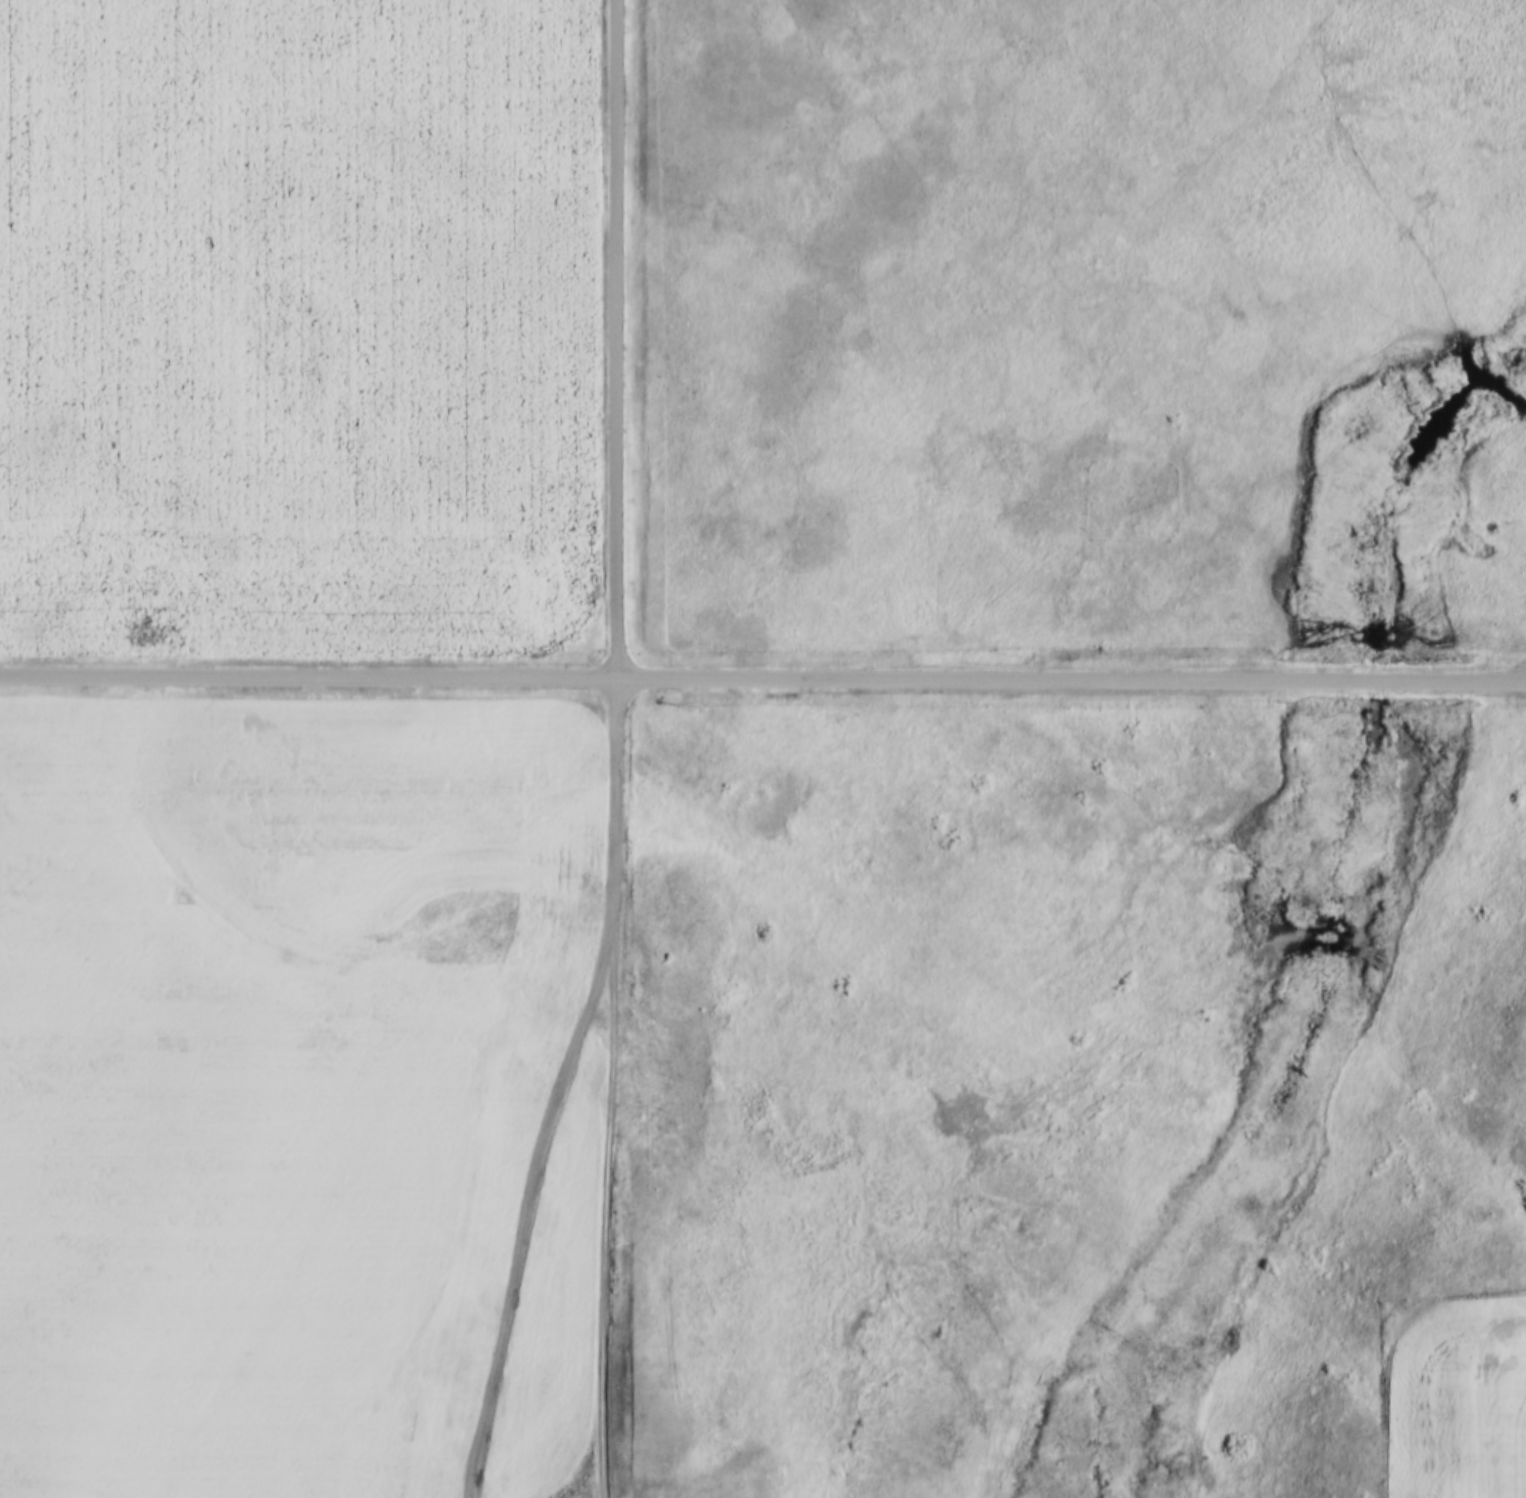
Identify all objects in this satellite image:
road: (618, 336)
road: (763, 673)
road: (613, 1085)
quarry: (512, 1492)

